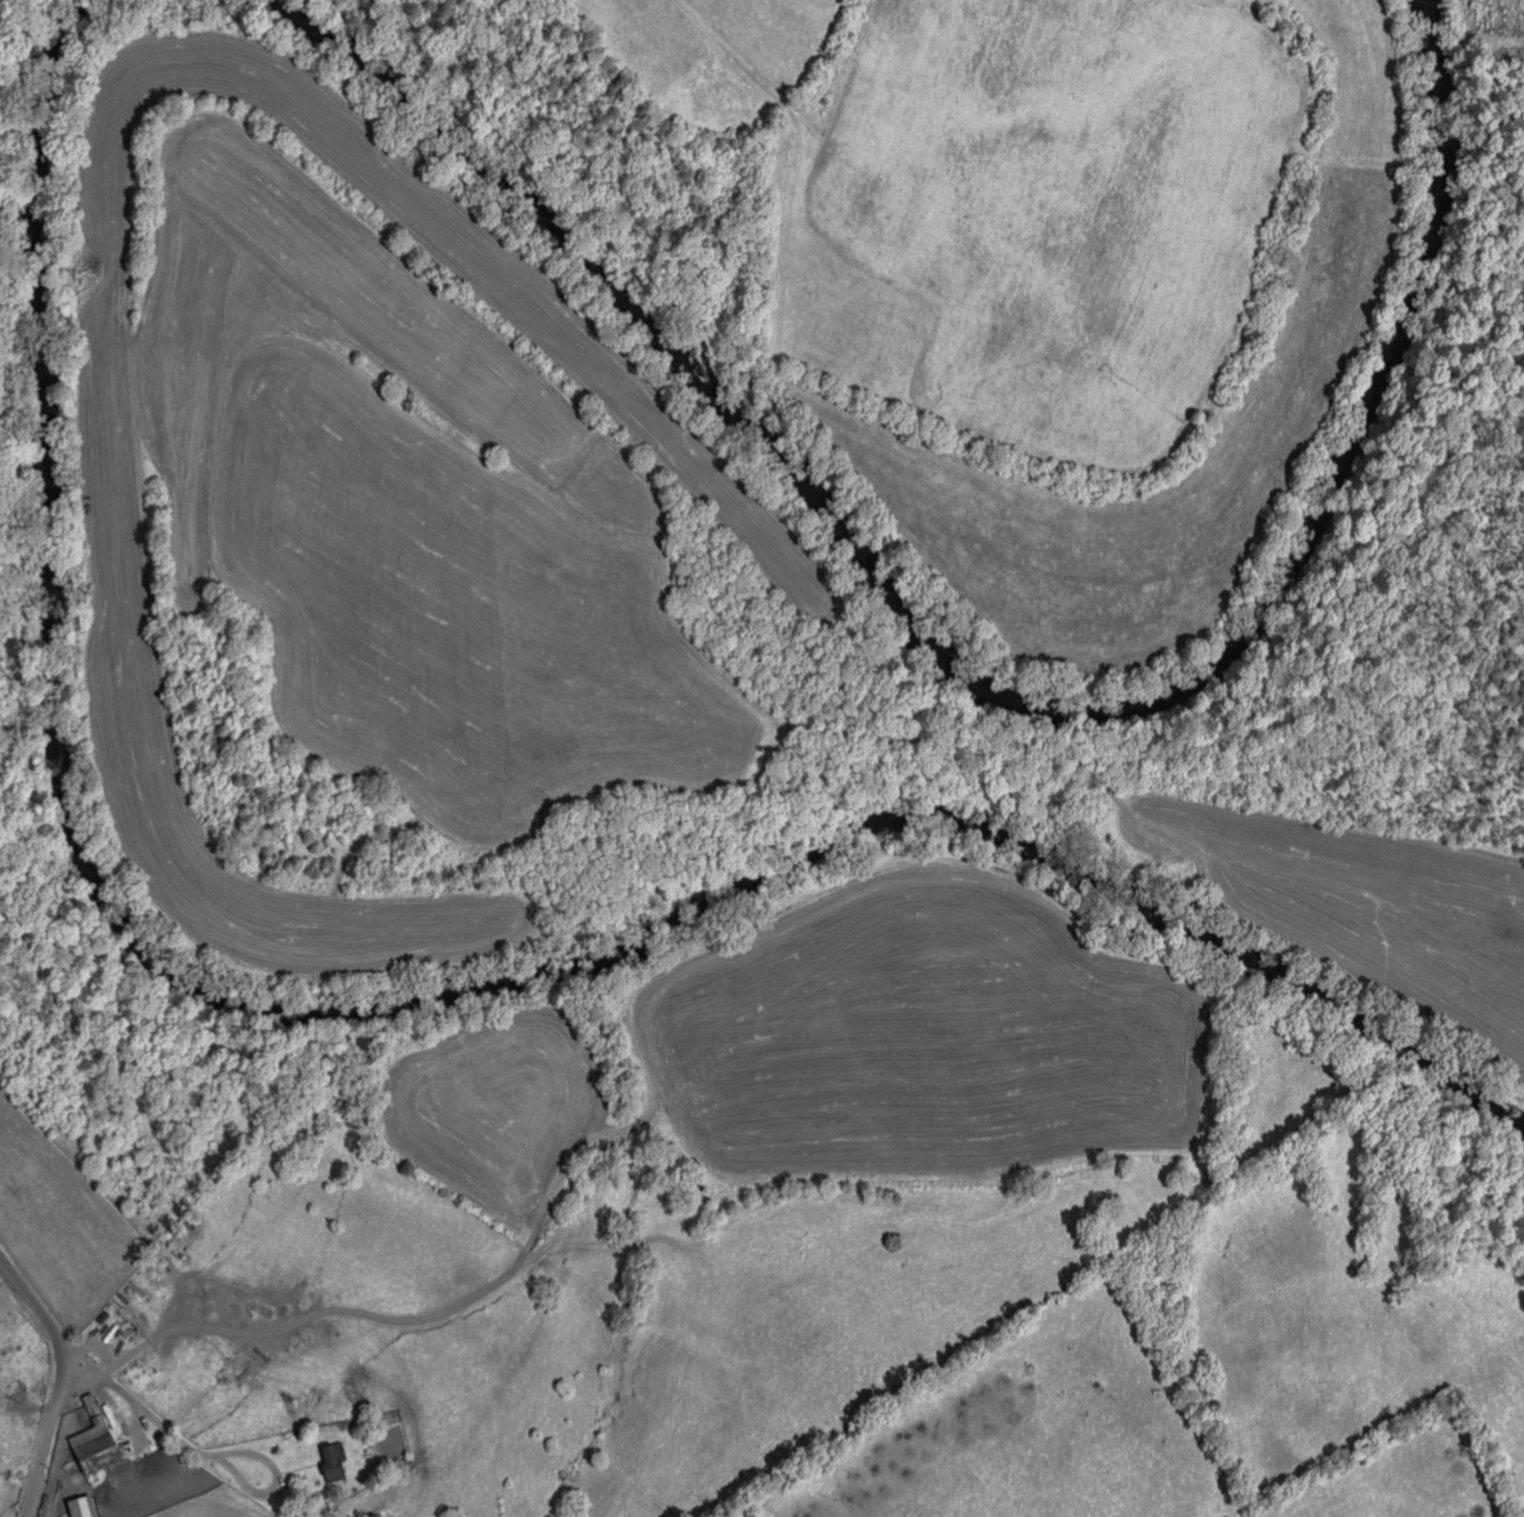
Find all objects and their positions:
river: (977, 681)
building: (58, 832)
river: (401, 994)
building: (8, 1297)
road: (59, 1379)
building: (99, 1442)
building: (338, 1464)
building: (87, 1508)

